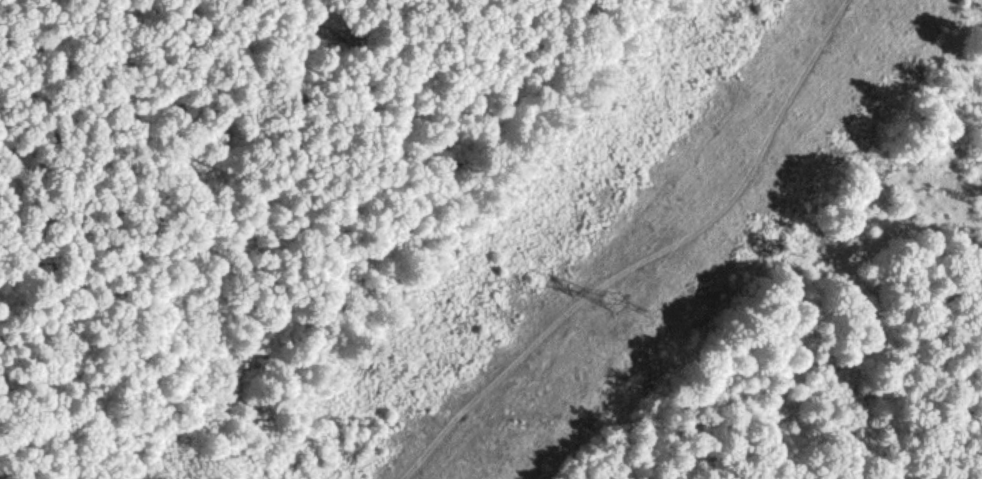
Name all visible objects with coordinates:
power tower: (616, 301)

